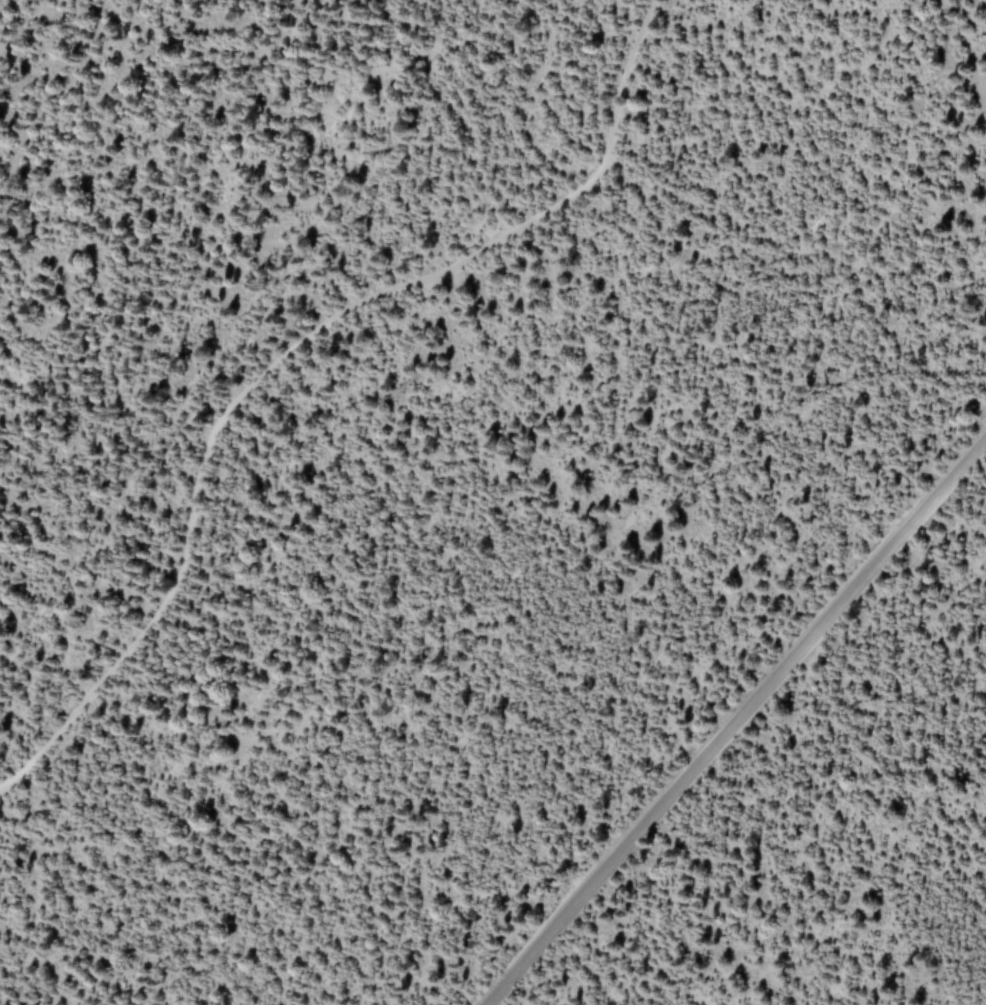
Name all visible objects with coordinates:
road: (291, 349)
road: (735, 720)

